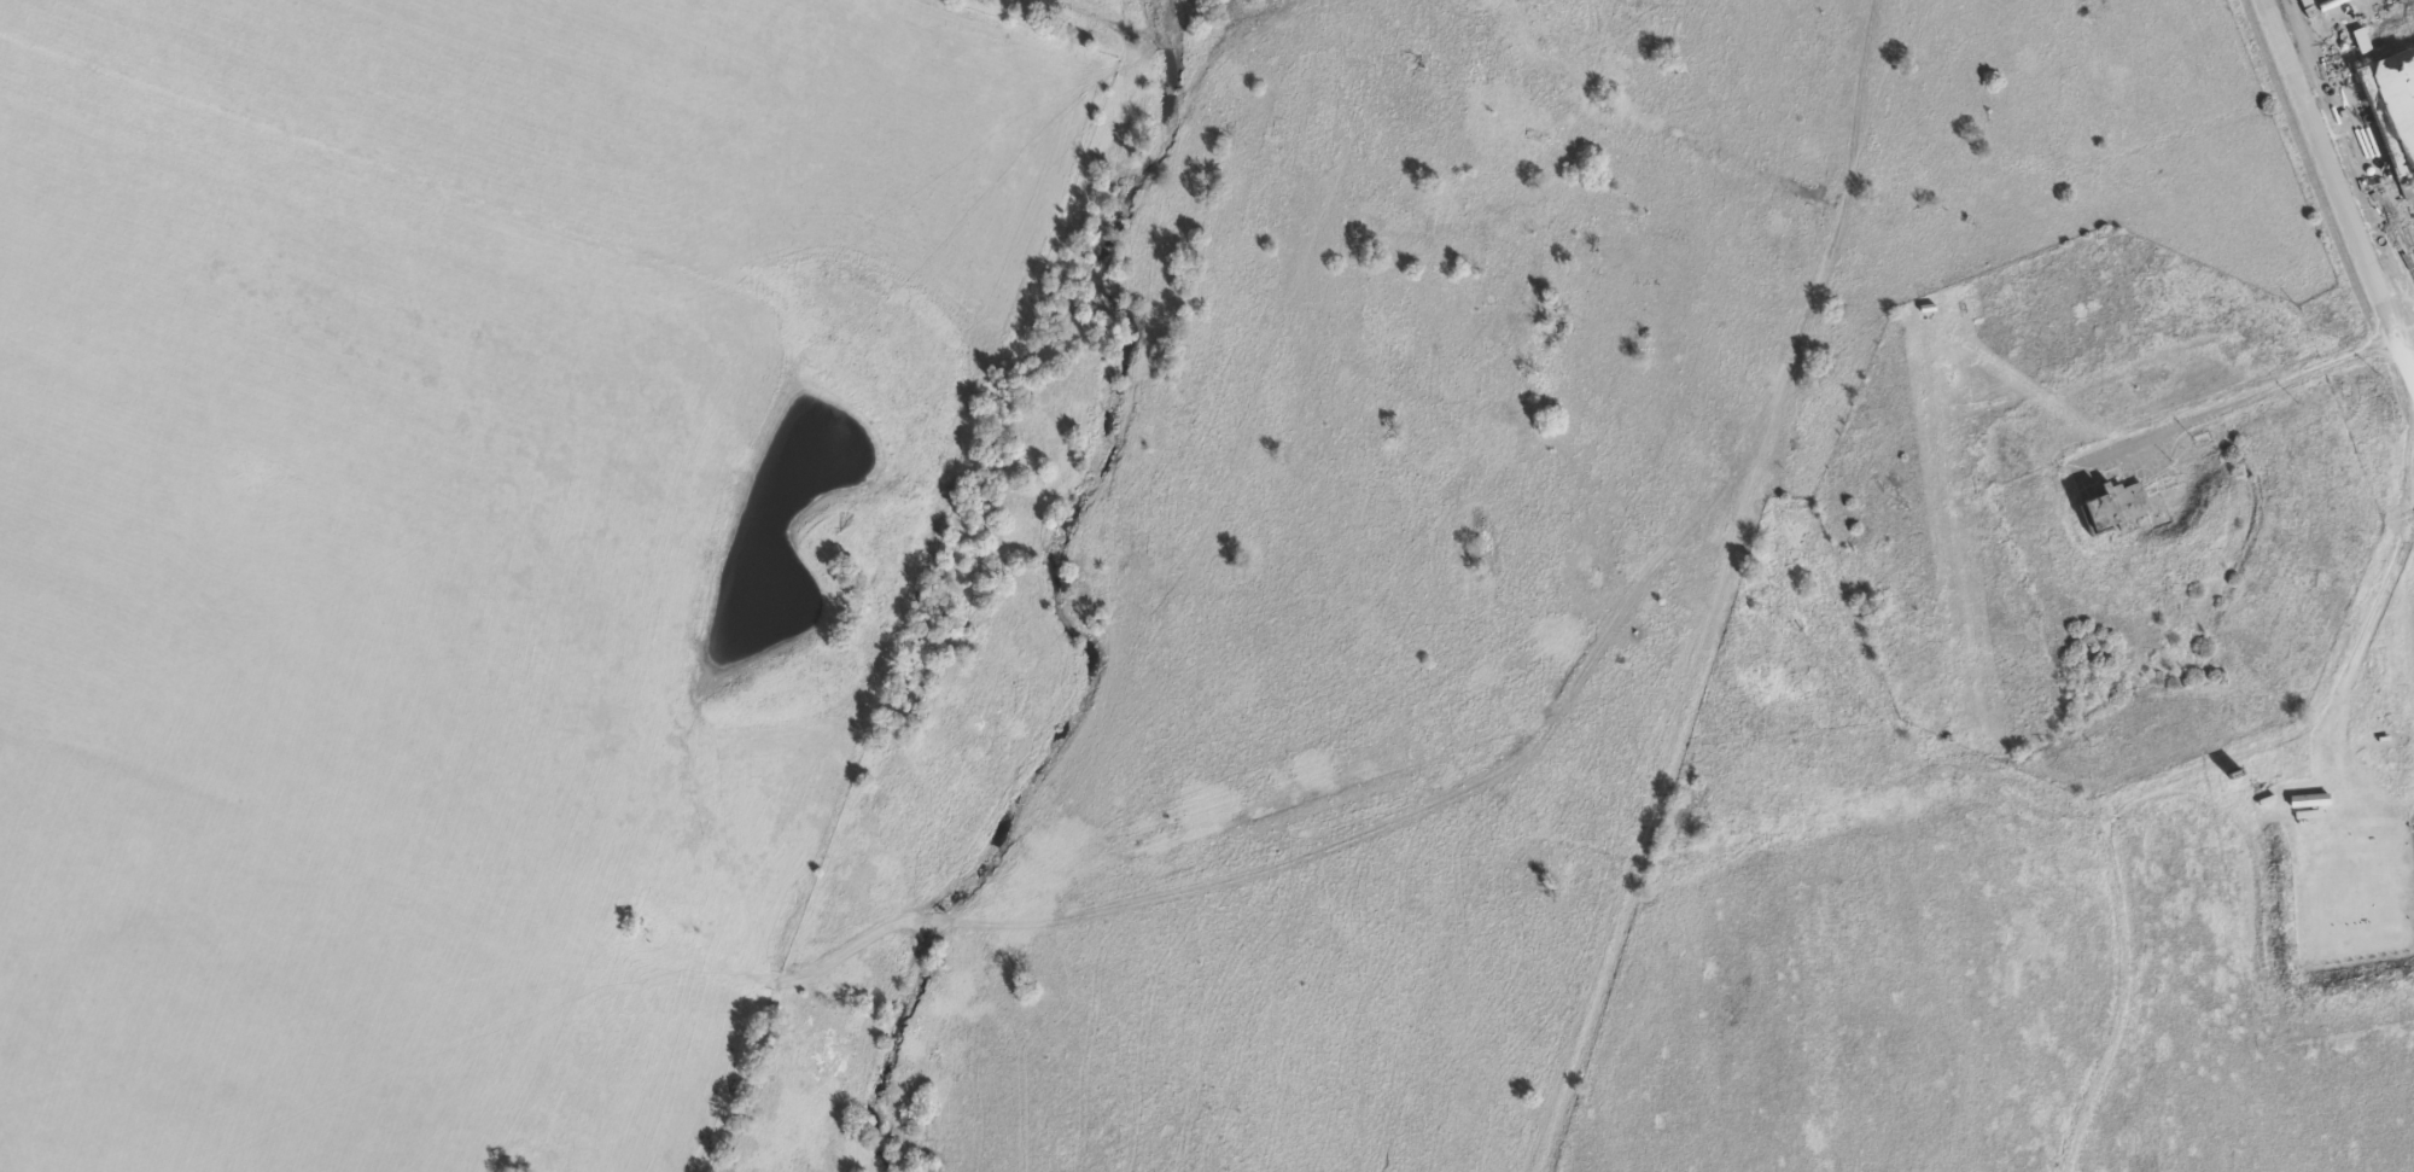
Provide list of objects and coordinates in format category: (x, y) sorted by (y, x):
building: (2360, 40)
building: (2391, 109)
road: (2343, 181)
road: (2408, 332)
road: (2238, 400)
building: (2111, 506)
road: (2181, 779)

